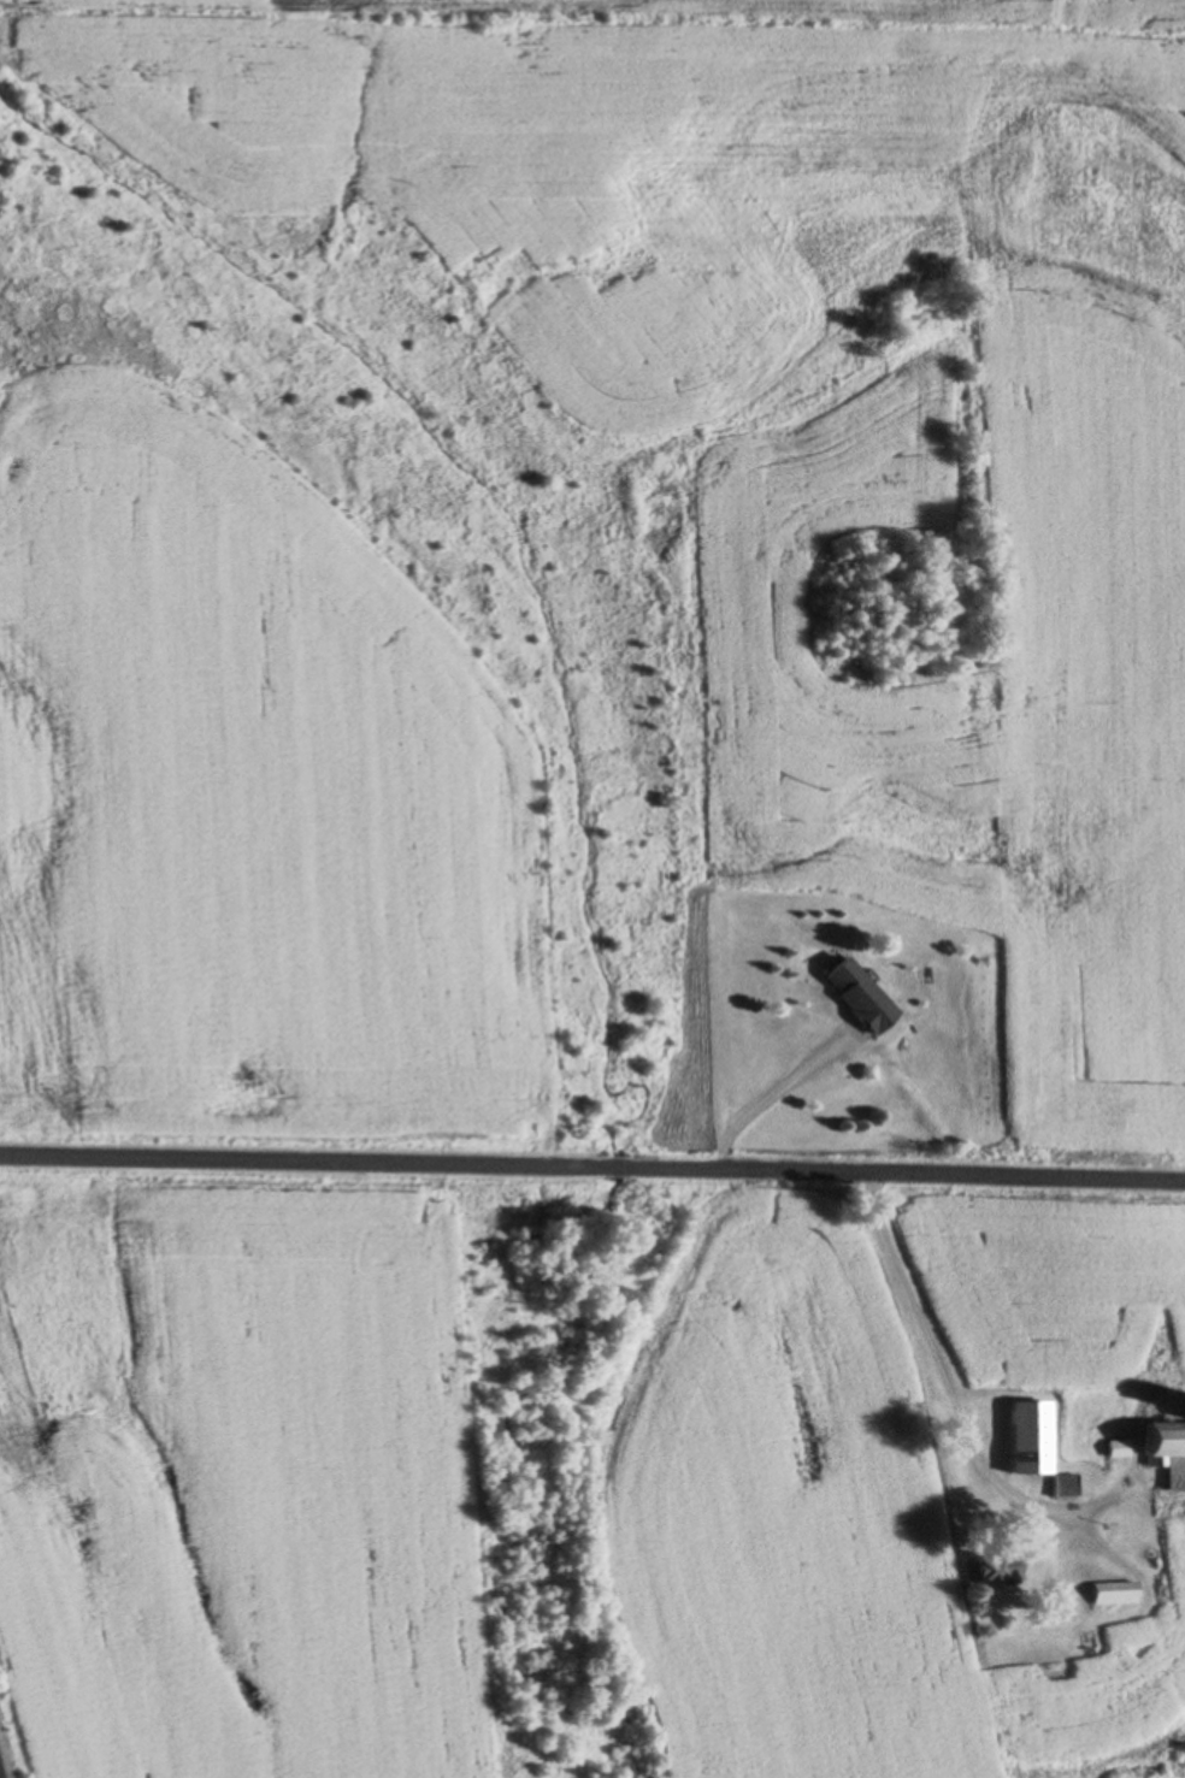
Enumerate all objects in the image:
building: (857, 996)
road: (772, 1092)
road: (592, 1162)
road: (956, 1396)
building: (1030, 1437)
building: (1156, 1457)
building: (1000, 1569)
building: (1162, 1583)
building: (1118, 1597)
building: (1113, 1649)

